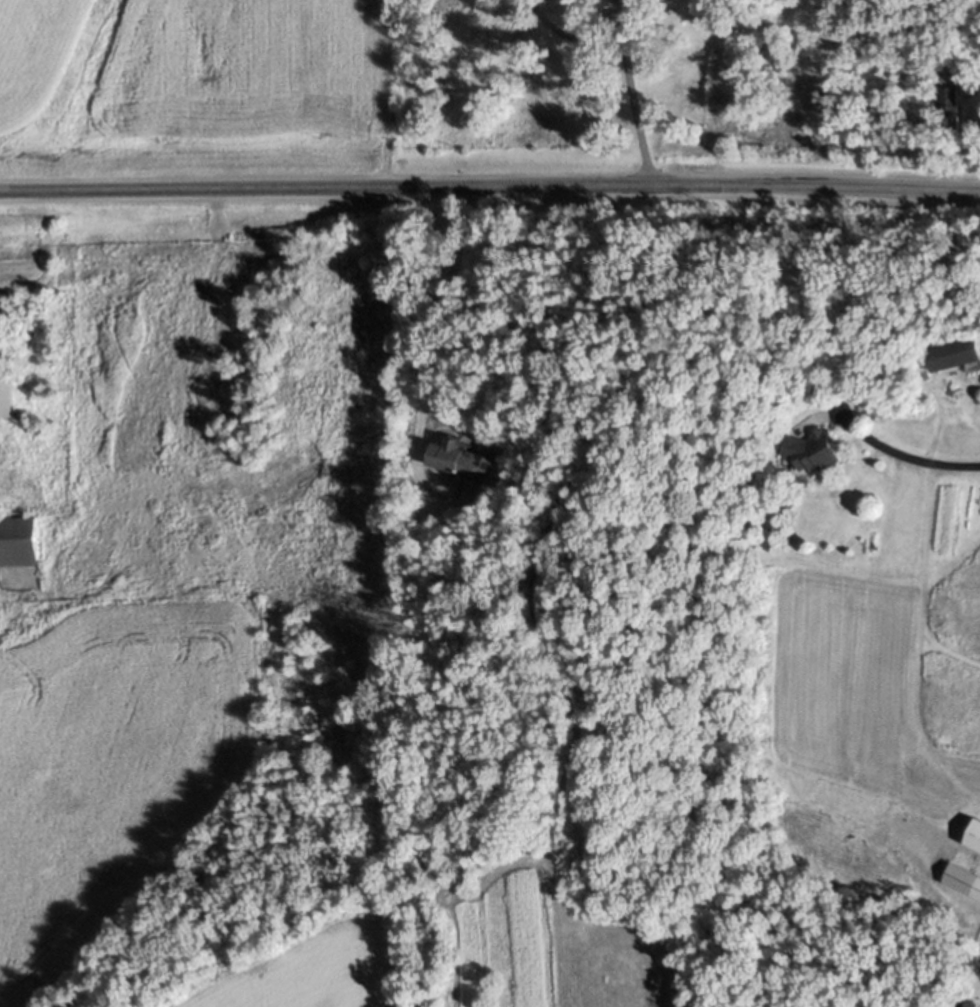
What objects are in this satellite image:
building: (640, 4)
building: (947, 94)
road: (633, 99)
road: (975, 115)
building: (948, 119)
road: (490, 187)
building: (956, 354)
road: (428, 359)
building: (925, 377)
building: (6, 386)
road: (883, 447)
building: (814, 449)
building: (459, 460)
building: (19, 540)
building: (963, 879)
building: (965, 1003)

